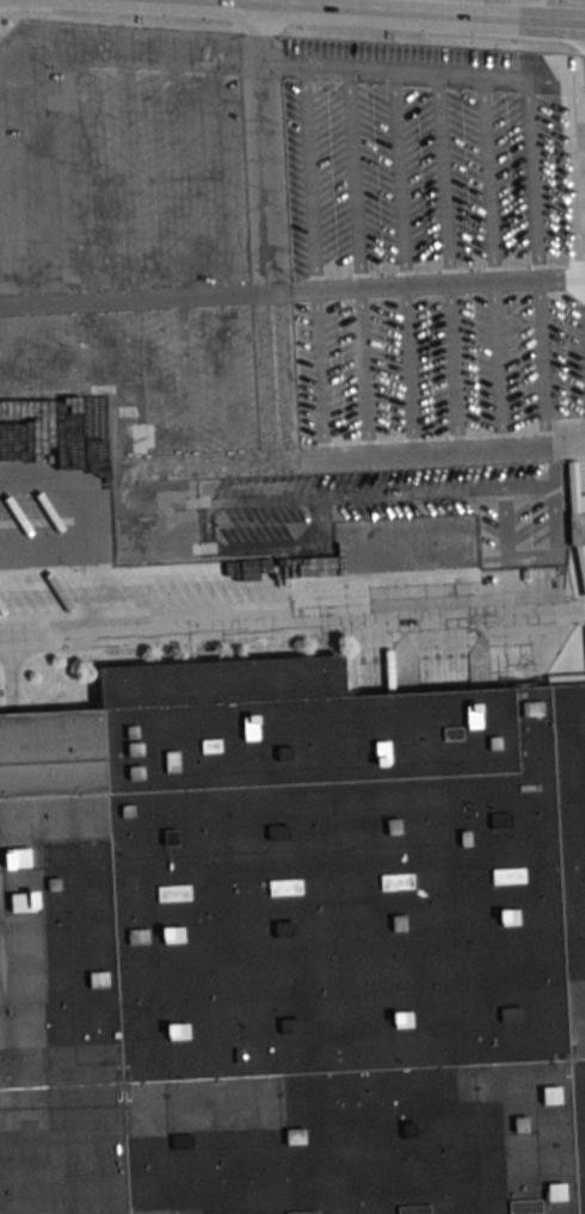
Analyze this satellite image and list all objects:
road: (494, 0)
road: (412, 11)
road: (279, 291)
road: (292, 626)
railway: (42, 746)
building: (292, 945)

